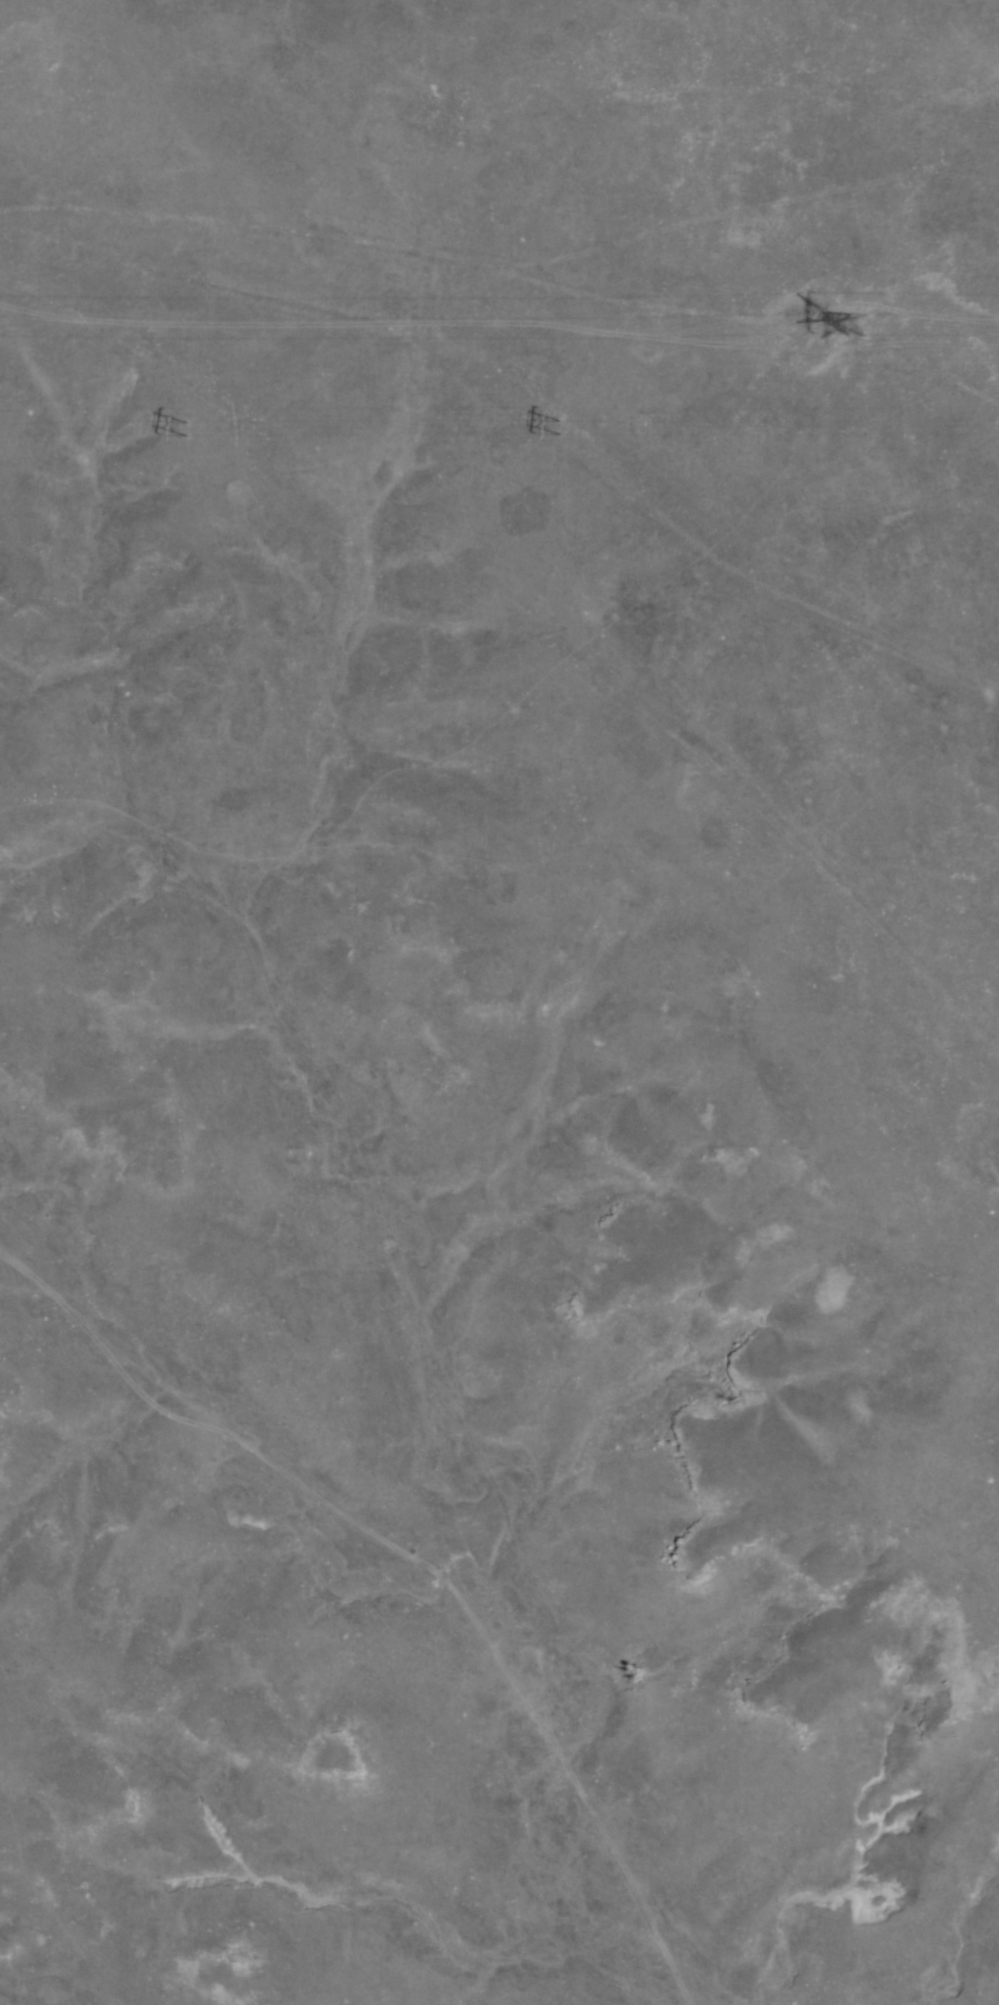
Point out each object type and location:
power tower: (860, 324)
power tower: (560, 426)
power tower: (188, 428)

